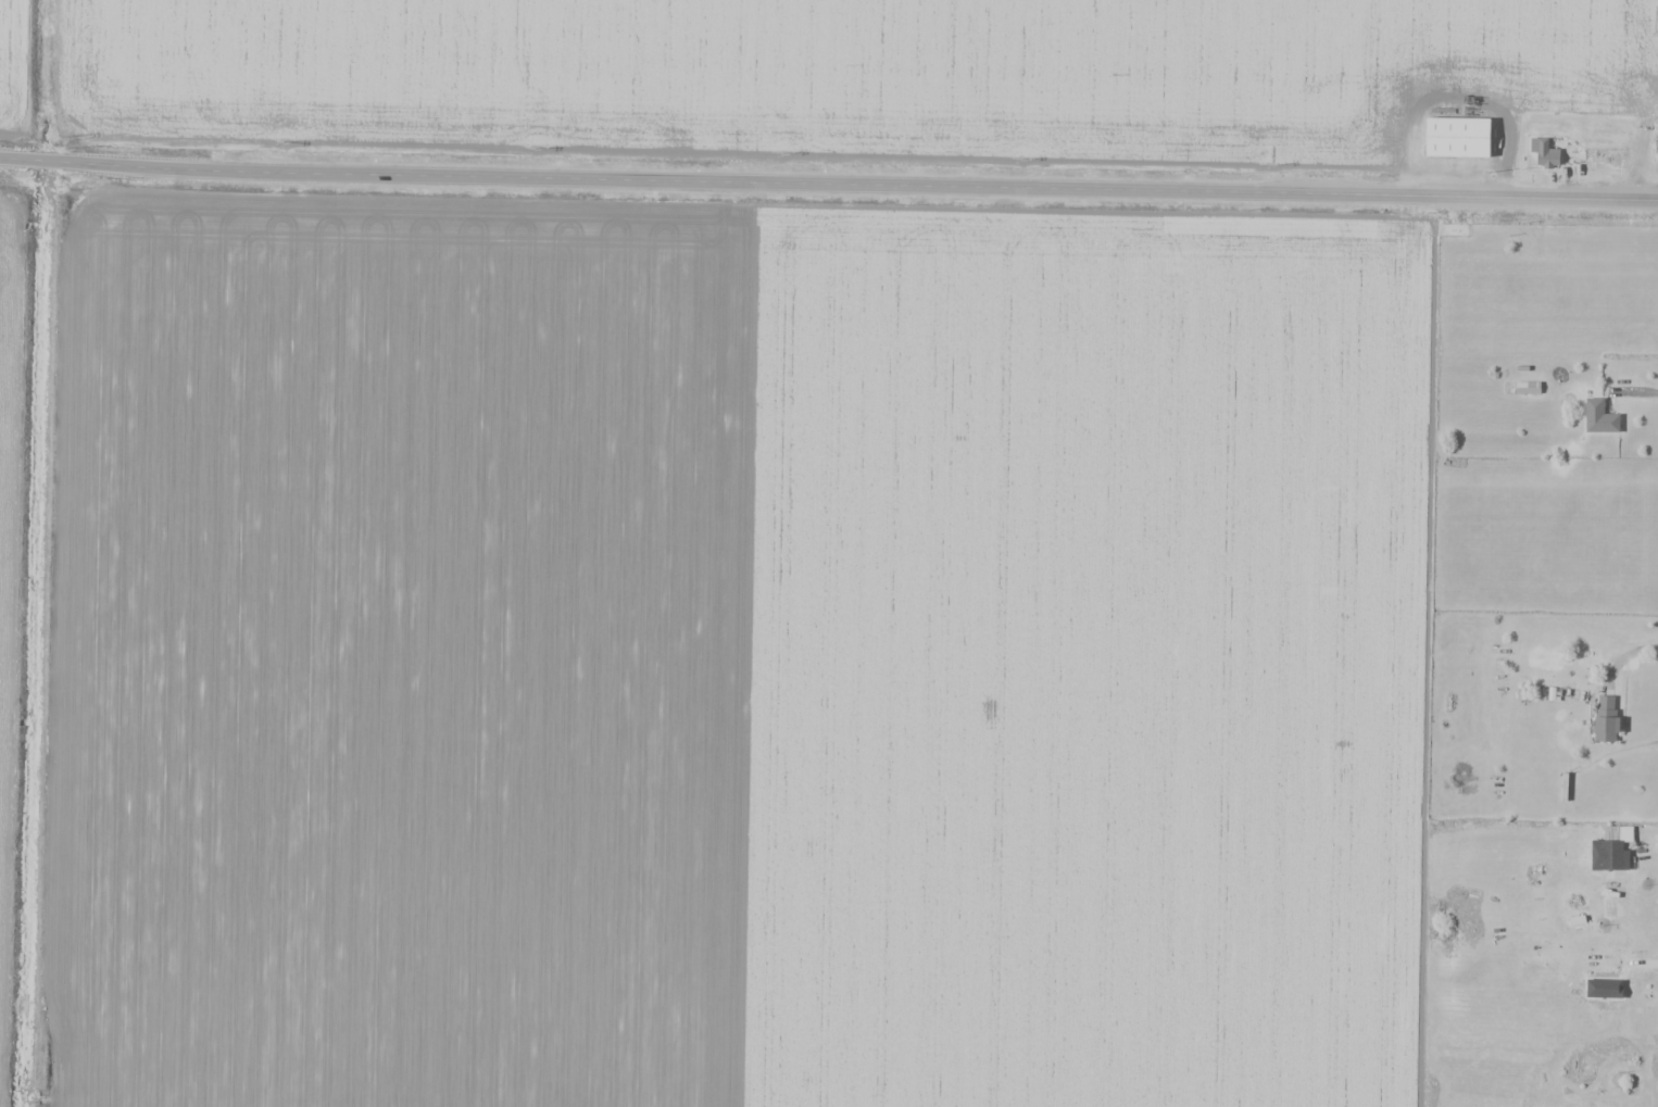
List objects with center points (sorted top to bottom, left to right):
building: (1457, 137)
building: (1544, 152)
building: (1604, 158)
road: (828, 176)
building: (1599, 416)
building: (1606, 718)
building: (1609, 854)
building: (1620, 979)

